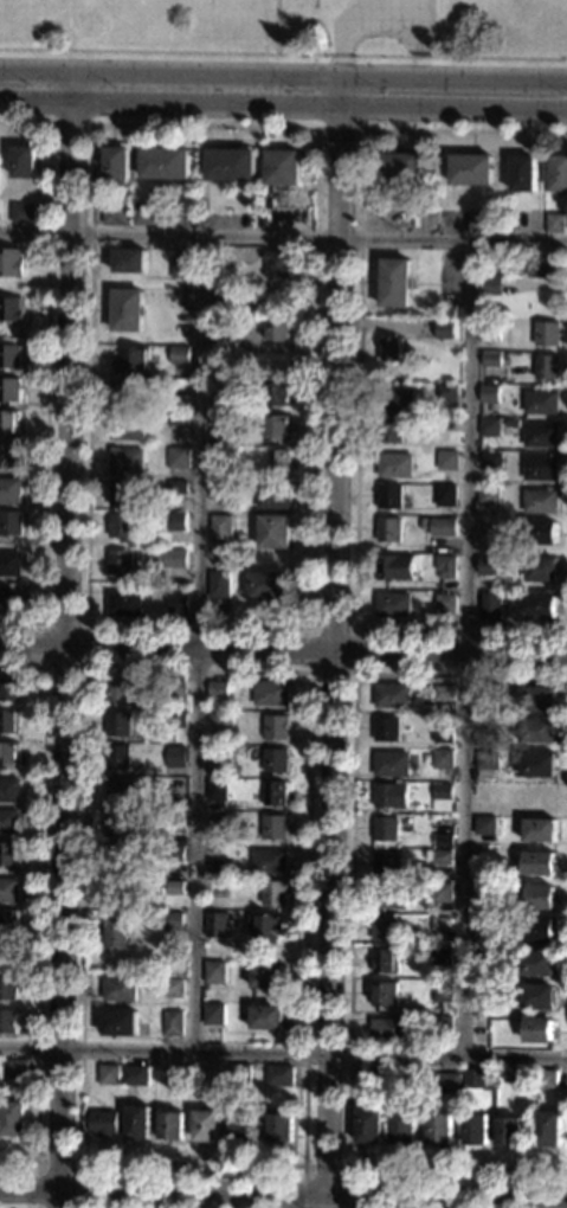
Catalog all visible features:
road: (283, 71)
road: (283, 105)
road: (70, 124)
road: (92, 126)
road: (339, 129)
building: (22, 161)
building: (165, 163)
building: (230, 165)
building: (115, 166)
building: (283, 167)
building: (400, 169)
building: (471, 169)
building: (523, 173)
building: (559, 174)
building: (268, 204)
building: (200, 208)
building: (20, 212)
building: (143, 214)
building: (116, 216)
building: (488, 220)
building: (518, 221)
building: (555, 223)
road: (283, 237)
building: (129, 261)
building: (11, 263)
building: (277, 264)
building: (180, 266)
building: (546, 266)
building: (217, 274)
building: (395, 283)
building: (492, 284)
building: (223, 302)
building: (11, 309)
building: (125, 310)
building: (277, 329)
building: (444, 330)
building: (490, 330)
building: (181, 333)
building: (548, 334)
building: (221, 335)
building: (392, 348)
building: (8, 355)
building: (179, 355)
building: (130, 360)
building: (491, 360)
building: (548, 367)
road: (45, 370)
road: (357, 385)
building: (8, 390)
building: (128, 391)
building: (446, 391)
building: (277, 393)
building: (489, 394)
building: (395, 398)
building: (221, 400)
building: (541, 401)
building: (178, 419)
building: (7, 423)
building: (514, 423)
building: (125, 426)
building: (489, 428)
building: (277, 429)
building: (389, 430)
building: (219, 433)
building: (541, 435)
building: (426, 437)
building: (7, 456)
building: (176, 457)
building: (491, 458)
building: (446, 460)
building: (125, 461)
building: (277, 462)
building: (394, 465)
building: (541, 468)
building: (175, 487)
building: (218, 489)
building: (429, 489)
building: (9, 490)
building: (125, 494)
building: (445, 495)
building: (488, 495)
building: (272, 497)
building: (388, 497)
building: (541, 501)
building: (175, 519)
building: (9, 523)
building: (423, 523)
building: (120, 525)
building: (442, 526)
building: (220, 529)
building: (388, 531)
building: (273, 532)
building: (542, 533)
building: (170, 558)
building: (9, 564)
building: (120, 564)
building: (488, 565)
building: (394, 567)
building: (444, 567)
building: (541, 568)
building: (218, 584)
building: (268, 586)
building: (175, 590)
building: (9, 599)
building: (123, 603)
building: (176, 604)
building: (392, 604)
building: (444, 604)
building: (489, 605)
building: (541, 606)
road: (43, 625)
road: (354, 631)
road: (65, 638)
road: (335, 638)
road: (199, 642)
road: (466, 648)
road: (283, 653)
road: (85, 669)
building: (173, 687)
building: (217, 688)
building: (8, 689)
building: (122, 690)
building: (270, 693)
building: (443, 693)
building: (391, 695)
building: (537, 699)
building: (485, 705)
building: (219, 718)
building: (174, 719)
building: (8, 721)
building: (117, 724)
building: (275, 727)
building: (386, 730)
building: (536, 731)
building: (442, 733)
building: (485, 738)
building: (214, 739)
building: (238, 750)
building: (8, 754)
building: (117, 757)
building: (174, 757)
building: (442, 759)
building: (275, 760)
building: (391, 763)
building: (484, 764)
building: (536, 764)
building: (217, 770)
building: (8, 790)
building: (215, 790)
building: (440, 791)
building: (122, 792)
building: (273, 793)
building: (484, 793)
building: (389, 796)
building: (537, 797)
building: (173, 820)
building: (7, 821)
building: (215, 822)
building: (117, 823)
building: (483, 825)
building: (273, 827)
building: (385, 828)
building: (537, 829)
building: (442, 840)
building: (7, 854)
building: (174, 855)
building: (116, 856)
building: (440, 857)
building: (268, 861)
building: (389, 862)
building: (536, 863)
building: (215, 869)
building: (173, 886)
building: (7, 889)
building: (117, 891)
building: (272, 892)
building: (439, 893)
building: (483, 894)
building: (389, 897)
building: (537, 897)
road: (38, 911)
building: (170, 920)
building: (7, 921)
road: (350, 923)
building: (439, 923)
building: (215, 924)
building: (266, 929)
building: (384, 929)
building: (115, 930)
building: (537, 930)
building: (7, 955)
building: (439, 956)
building: (482, 959)
building: (384, 960)
building: (534, 963)
building: (213, 972)
building: (265, 976)
building: (6, 988)
building: (172, 988)
building: (118, 989)
building: (440, 991)
building: (384, 994)
building: (536, 996)
building: (212, 1014)
building: (265, 1017)
building: (6, 1021)
building: (120, 1022)
building: (170, 1022)
building: (439, 1026)
building: (387, 1029)
building: (536, 1030)
road: (283, 1053)
building: (15, 1068)
building: (107, 1074)
building: (238, 1074)
building: (373, 1074)
building: (134, 1075)
building: (278, 1075)
building: (472, 1078)
building: (543, 1079)
building: (445, 1082)
building: (11, 1118)
building: (103, 1123)
building: (136, 1123)
building: (169, 1125)
building: (369, 1125)
building: (402, 1125)
building: (205, 1126)
building: (281, 1127)
building: (439, 1127)
building: (240, 1129)
building: (475, 1129)
building: (547, 1129)
building: (509, 1131)
road: (56, 1162)
road: (346, 1168)
road: (283, 1204)
road: (163, 1206)
road: (295, 1207)

